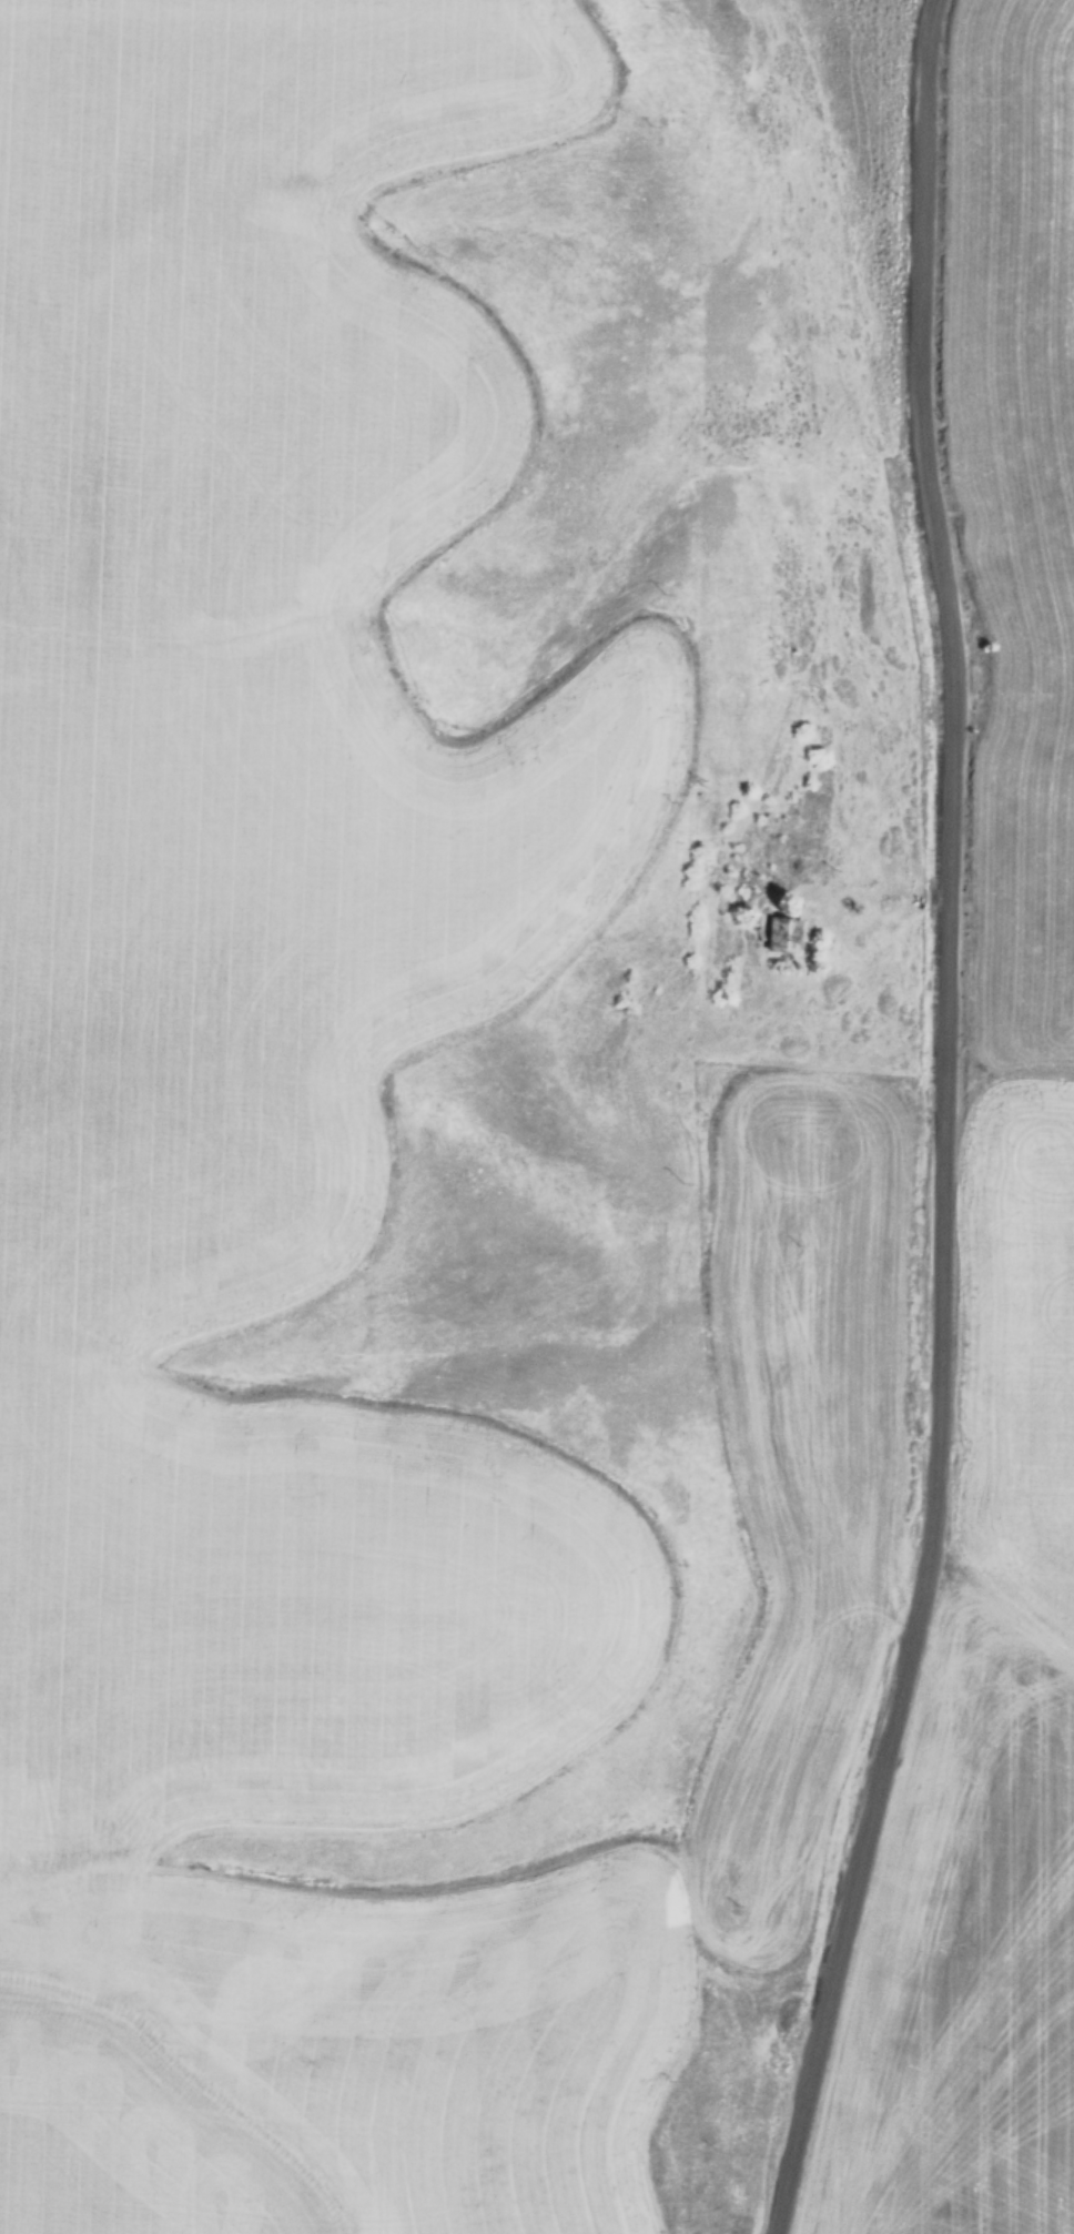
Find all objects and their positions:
road: (936, 1124)

